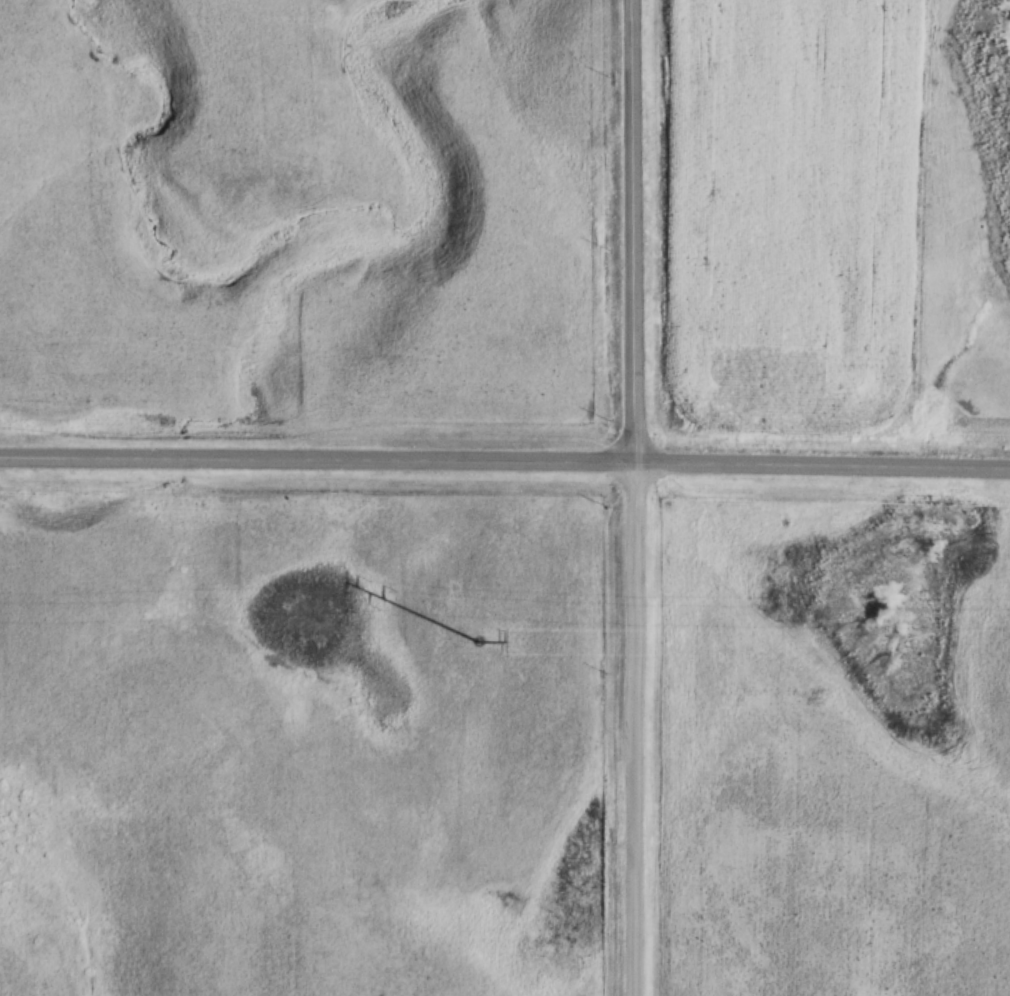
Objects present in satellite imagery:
road: (505, 461)
road: (634, 497)
power tower: (478, 641)

